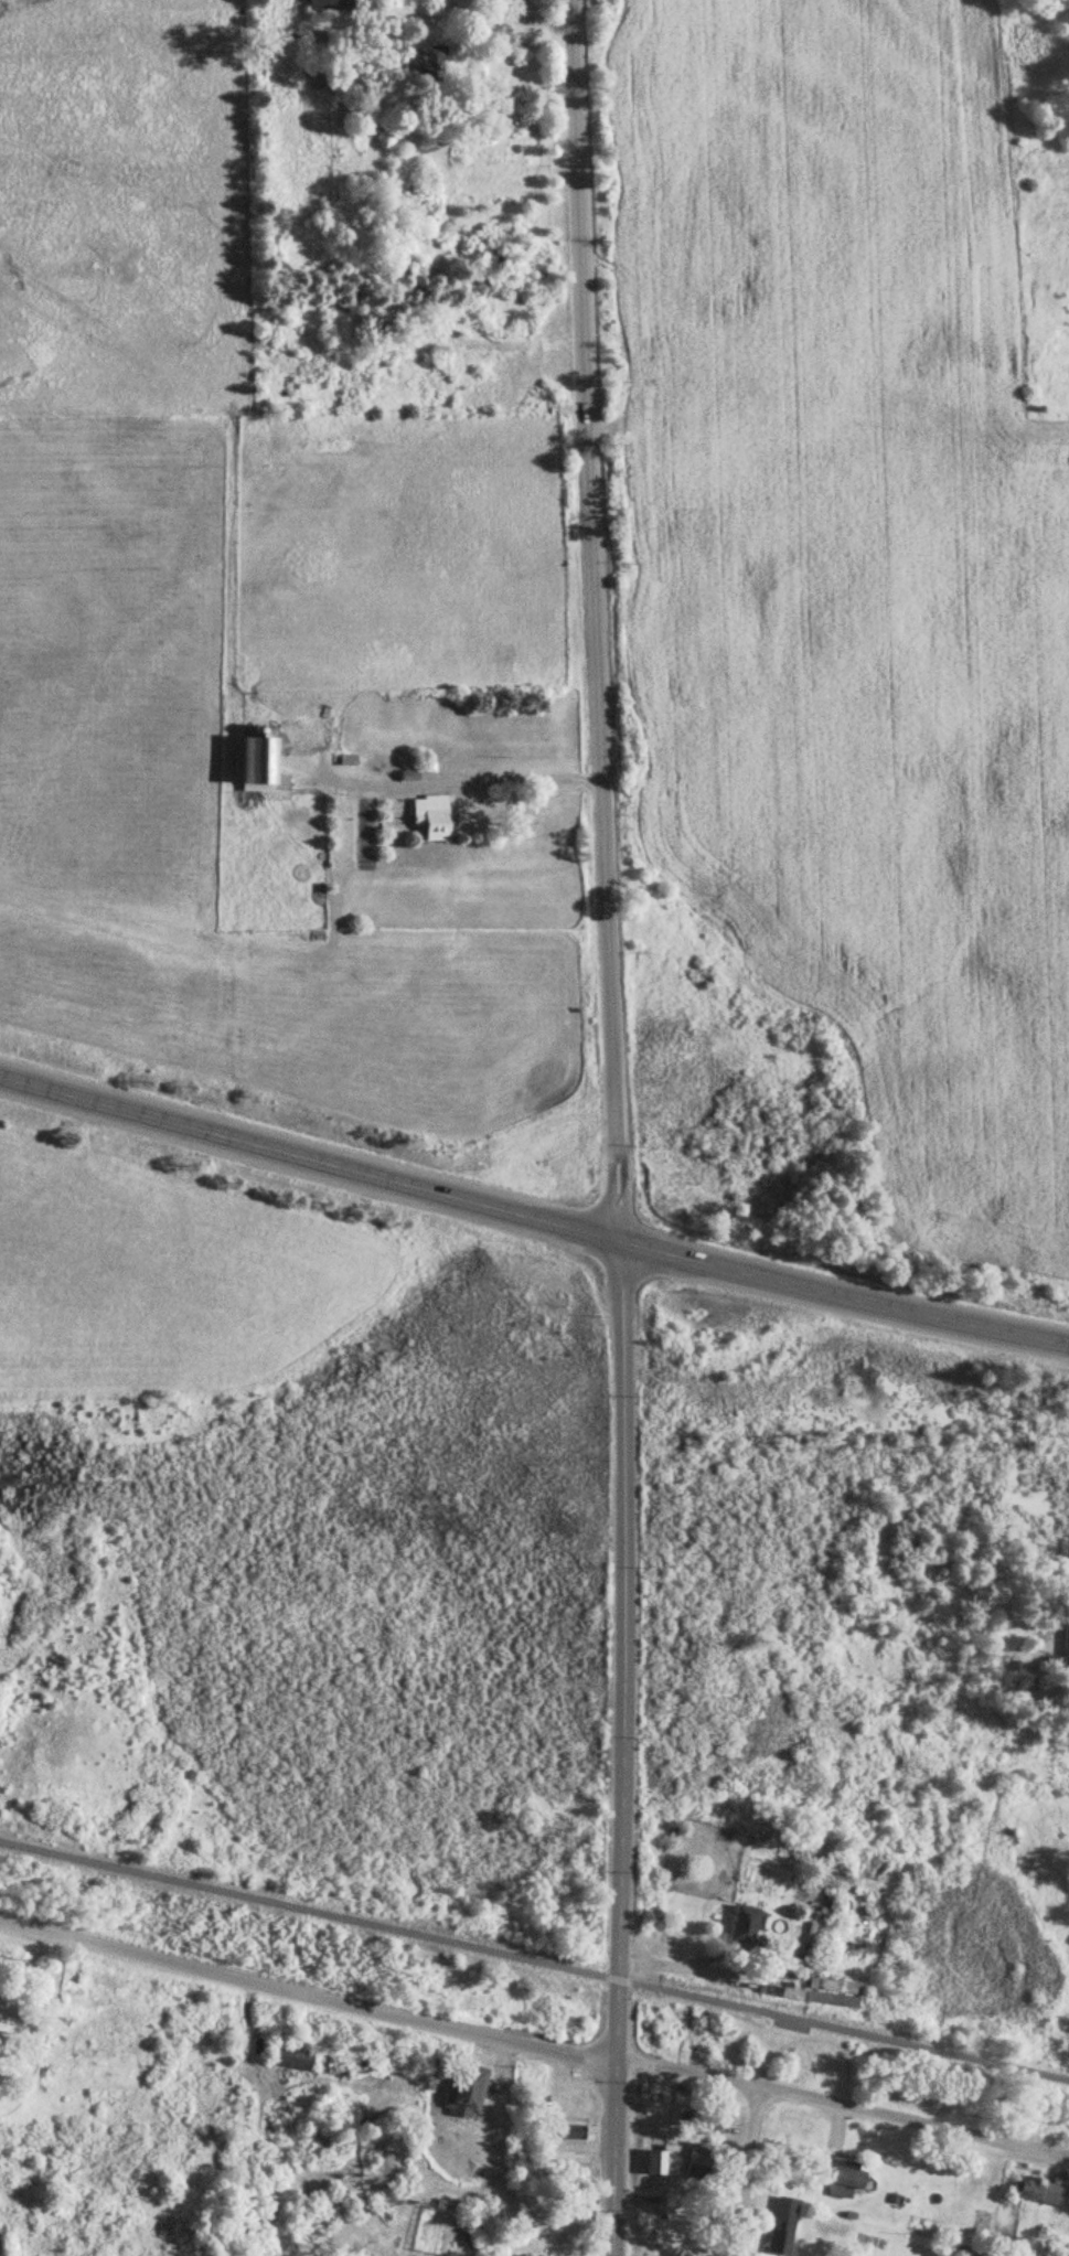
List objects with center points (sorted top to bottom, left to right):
building: (330, 4)
building: (429, 61)
building: (385, 320)
road: (598, 622)
building: (259, 769)
building: (430, 816)
road: (311, 1162)
road: (845, 1294)
building: (1065, 1639)
road: (620, 1751)
building: (742, 1928)
road: (534, 1963)
road: (308, 1997)
building: (1, 2024)
building: (290, 2057)
building: (463, 2088)
road: (842, 2109)
building: (717, 2123)
building: (571, 2131)
building: (661, 2161)
building: (695, 2162)
building: (571, 2173)
road: (748, 2174)
building: (844, 2179)
building: (1039, 2193)
building: (781, 2226)

